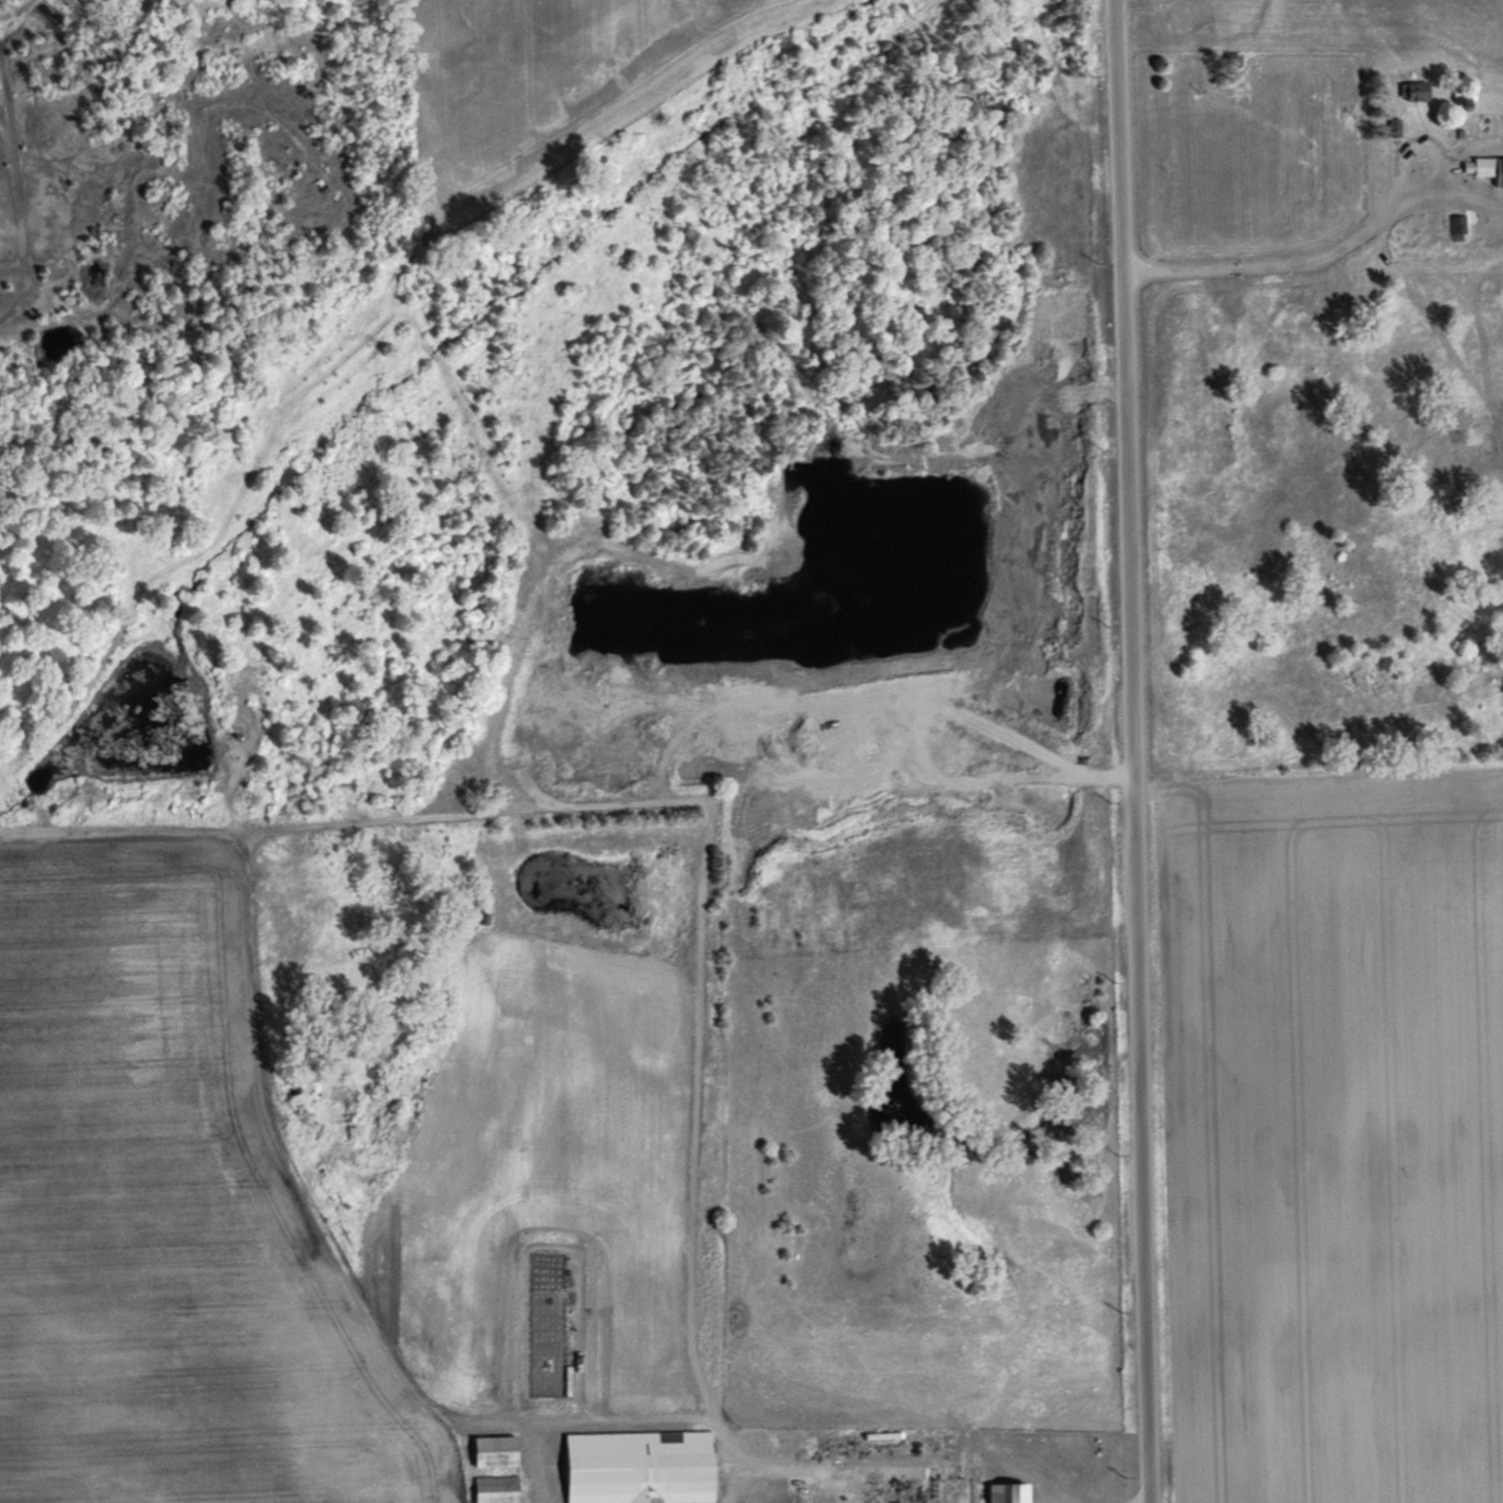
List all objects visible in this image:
building: (1414, 90)
building: (1394, 125)
building: (1484, 166)
building: (1457, 224)
road: (1326, 250)
road: (1139, 751)
building: (494, 1449)
building: (639, 1466)
building: (496, 1489)
building: (1008, 1491)

